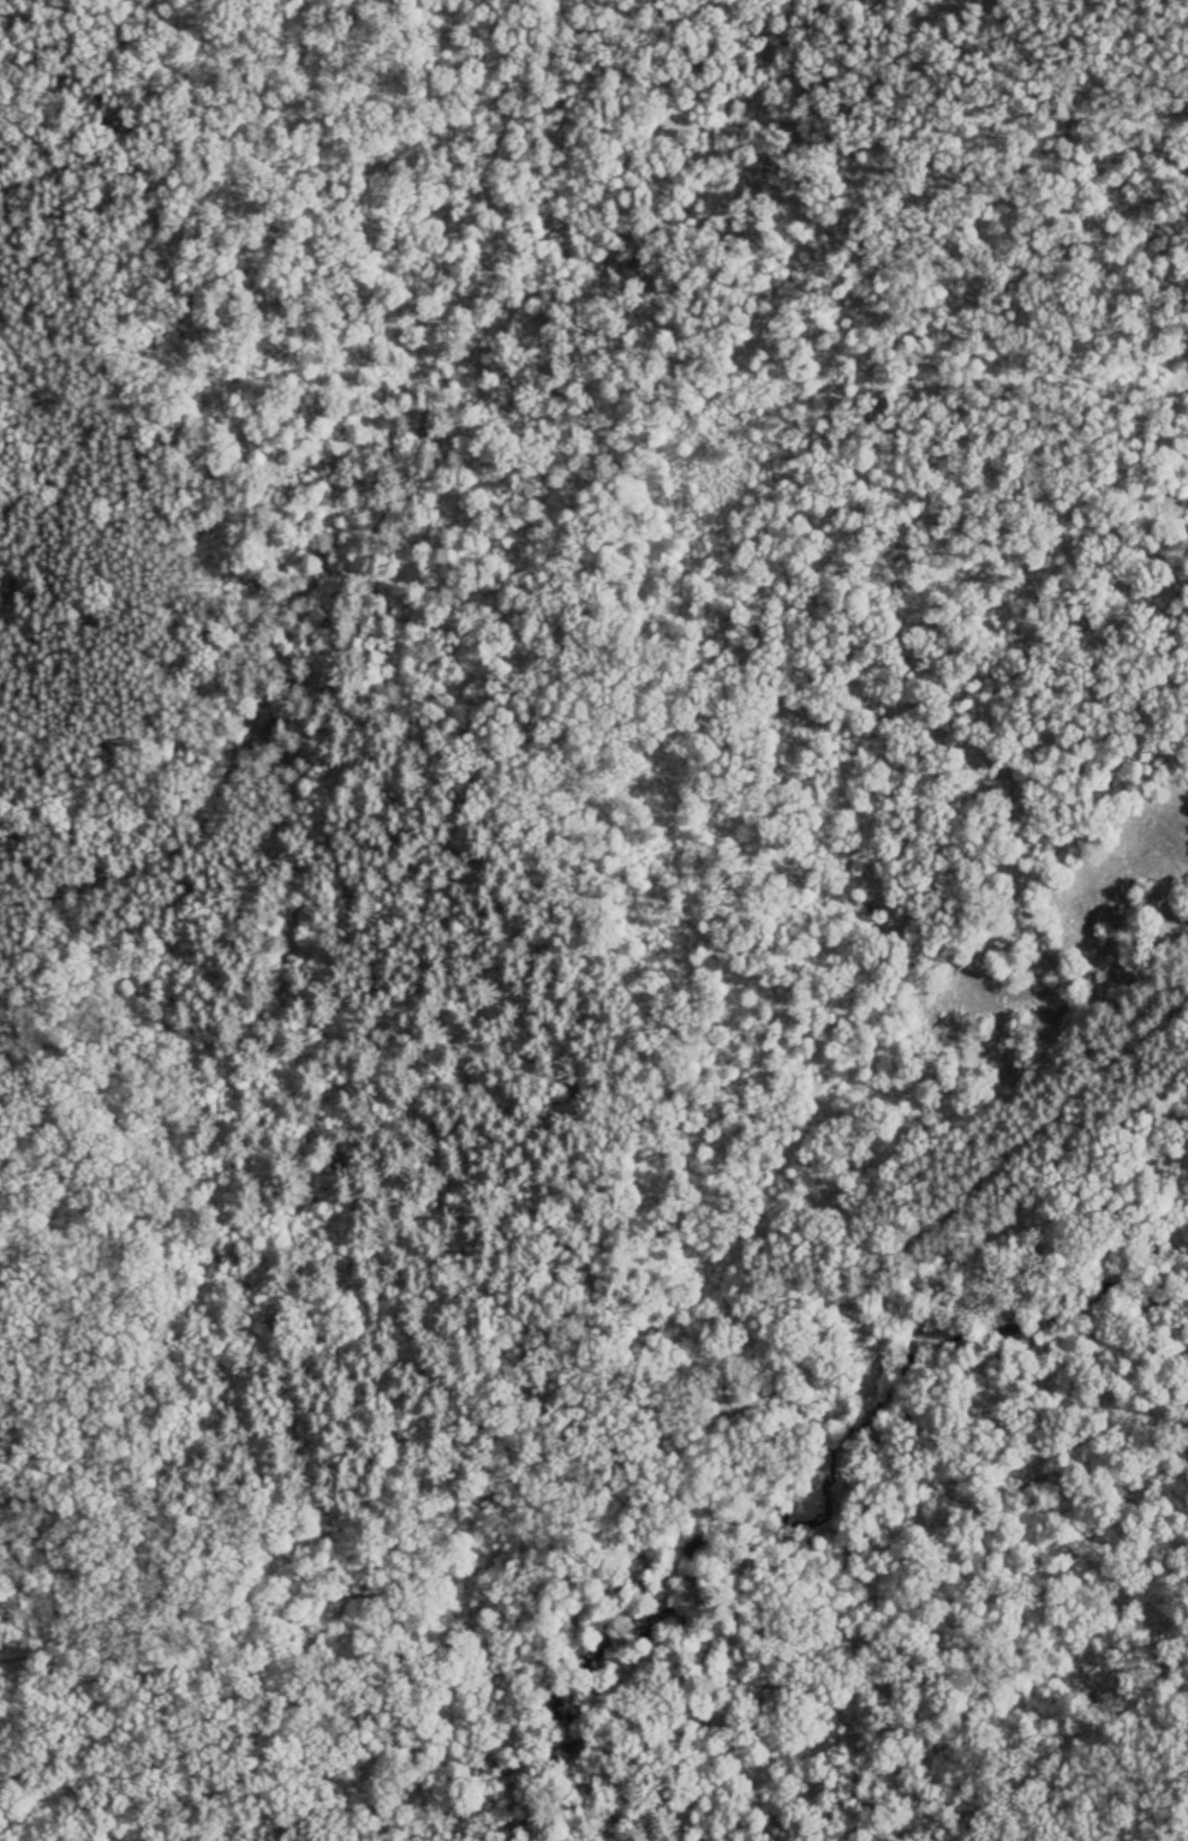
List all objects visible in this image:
road: (921, 1237)
road: (360, 1577)
road: (299, 1579)
road: (598, 1840)

